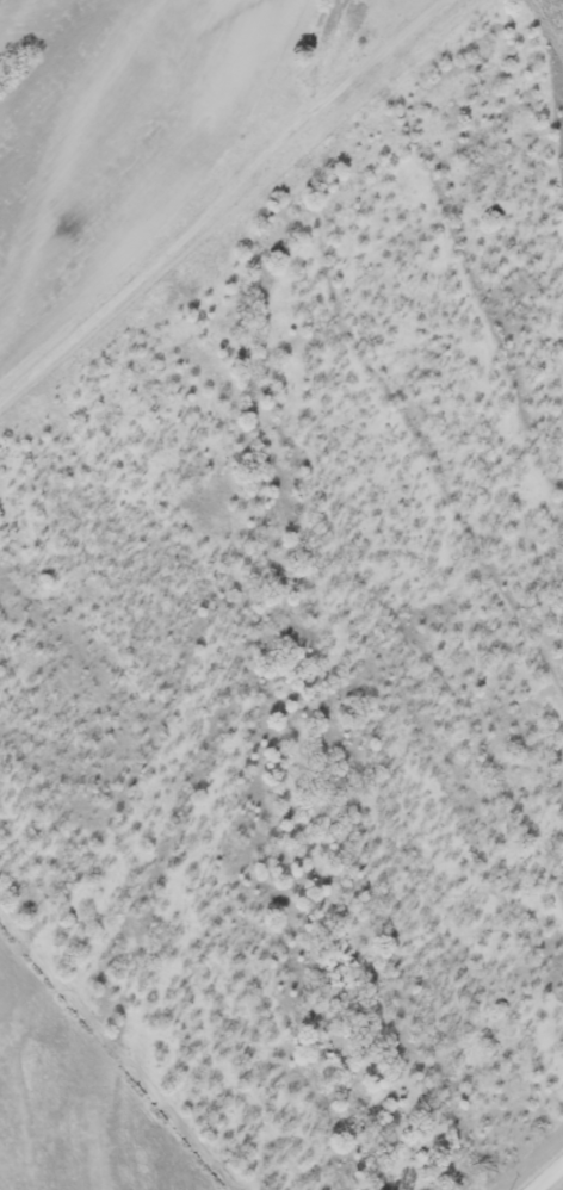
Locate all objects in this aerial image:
road: (217, 198)
road: (547, 1177)

